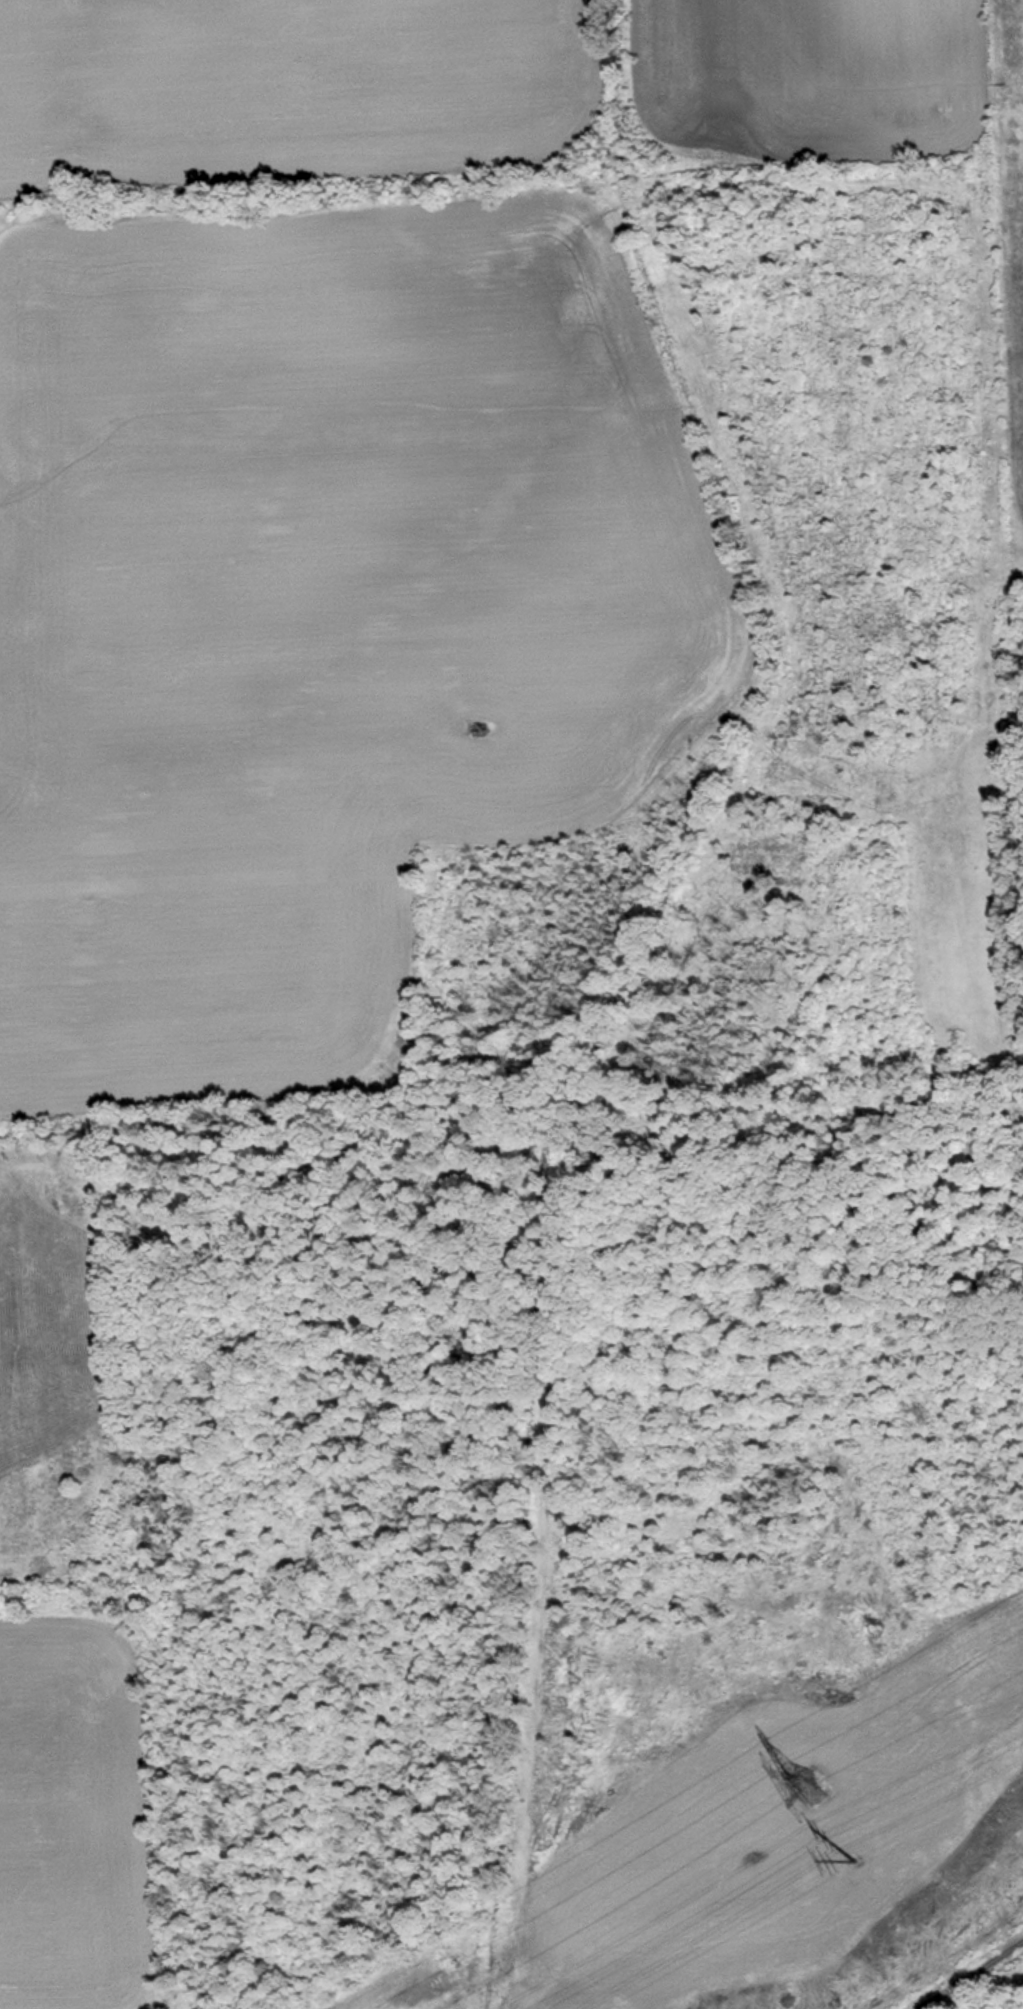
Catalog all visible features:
power tower: (807, 1786)
power tower: (856, 1863)
railway: (966, 1972)

